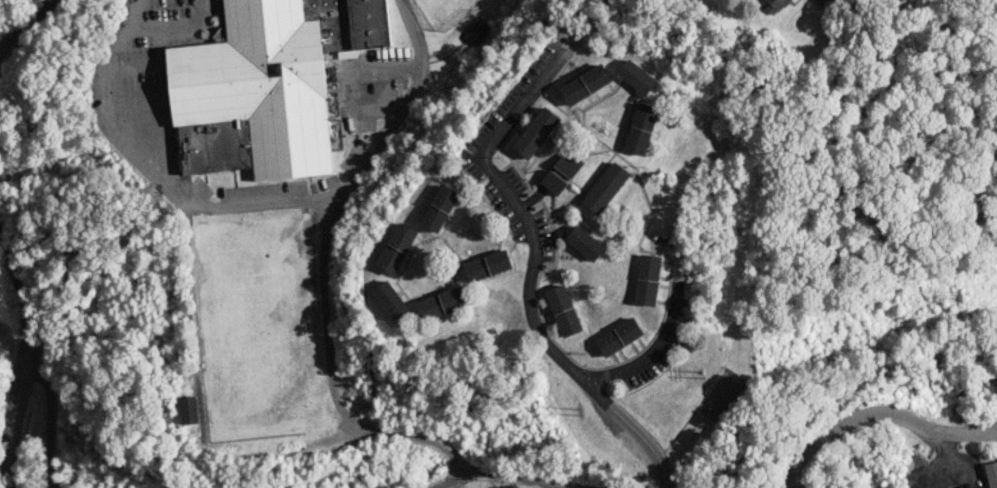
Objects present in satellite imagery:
building: (820, 2)
building: (774, 5)
park: (436, 10)
road: (24, 26)
building: (476, 30)
building: (638, 76)
building: (585, 84)
building: (267, 85)
road: (400, 106)
building: (642, 128)
building: (537, 132)
road: (155, 166)
building: (562, 172)
building: (607, 187)
building: (440, 207)
building: (587, 242)
building: (397, 247)
building: (489, 265)
road: (531, 267)
building: (649, 279)
building: (391, 297)
building: (443, 302)
building: (564, 309)
road: (324, 314)
park: (255, 326)
building: (619, 336)
road: (32, 347)
road: (649, 350)
park: (723, 395)
building: (187, 409)
road: (881, 419)
road: (49, 423)
road: (417, 436)
road: (274, 453)
road: (503, 474)
building: (992, 474)

